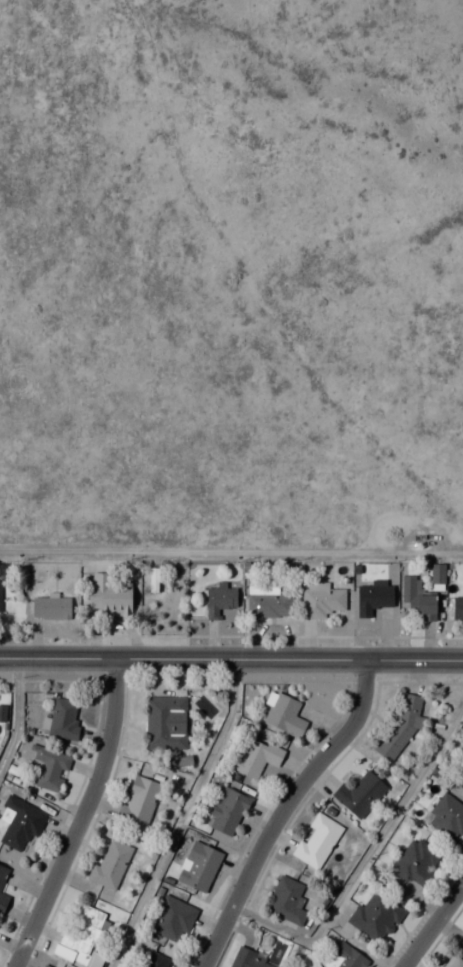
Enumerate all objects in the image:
road: (231, 554)
building: (109, 595)
building: (373, 596)
building: (0, 598)
building: (418, 599)
building: (220, 600)
building: (321, 600)
building: (269, 603)
building: (50, 608)
building: (458, 608)
road: (231, 659)
road: (14, 710)
building: (284, 715)
building: (63, 718)
building: (165, 722)
building: (399, 729)
building: (255, 757)
building: (50, 768)
building: (462, 780)
building: (360, 794)
building: (138, 804)
road: (286, 810)
building: (227, 811)
road: (181, 816)
building: (447, 816)
road: (84, 817)
building: (20, 822)
building: (317, 841)
road: (362, 859)
building: (416, 862)
building: (110, 863)
building: (199, 865)
building: (2, 874)
building: (3, 902)
building: (288, 903)
building: (375, 916)
building: (172, 919)
road: (435, 929)
building: (84, 936)
building: (345, 957)
building: (250, 960)
building: (156, 961)
building: (456, 962)
building: (44, 966)

